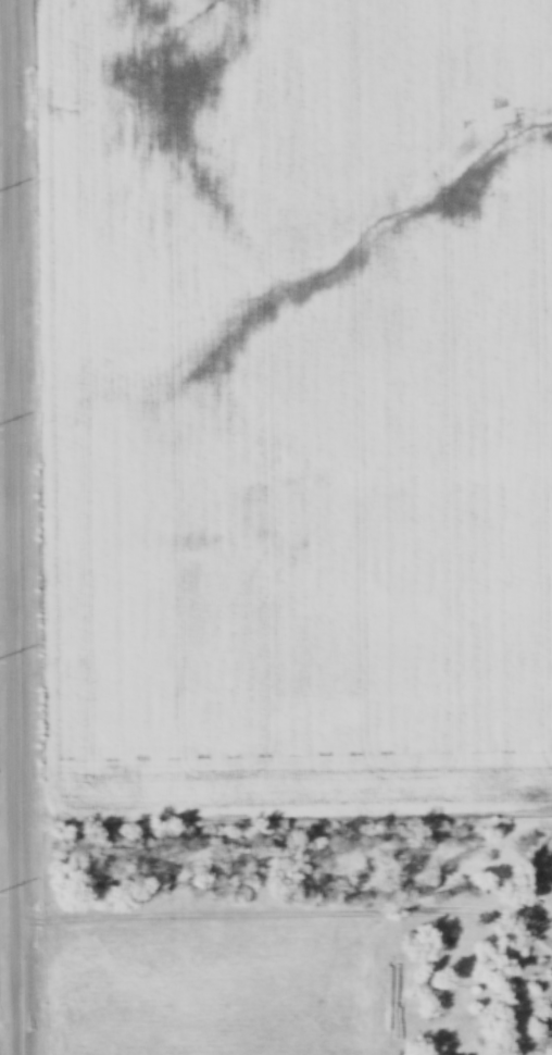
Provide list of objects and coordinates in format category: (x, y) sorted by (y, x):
road: (9, 527)
building: (548, 1041)

